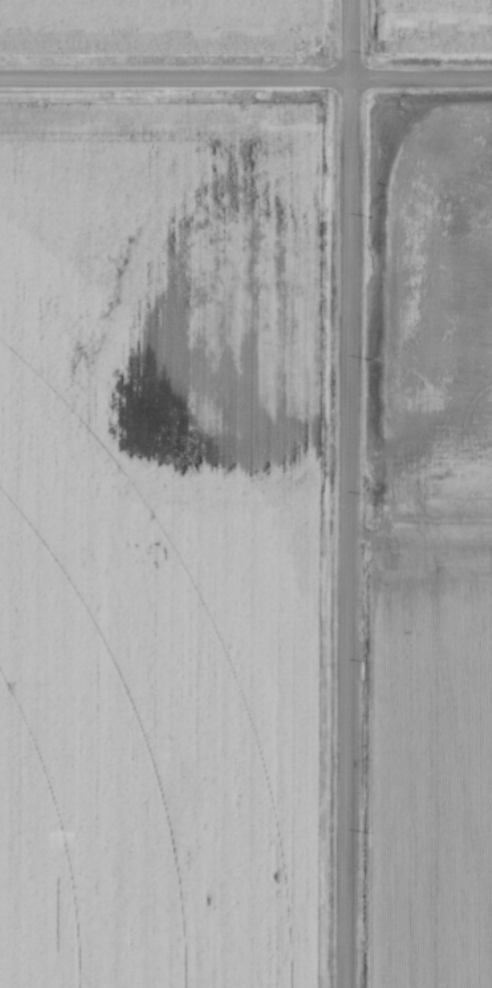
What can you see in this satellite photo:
road: (342, 41)
road: (245, 81)
road: (342, 535)

